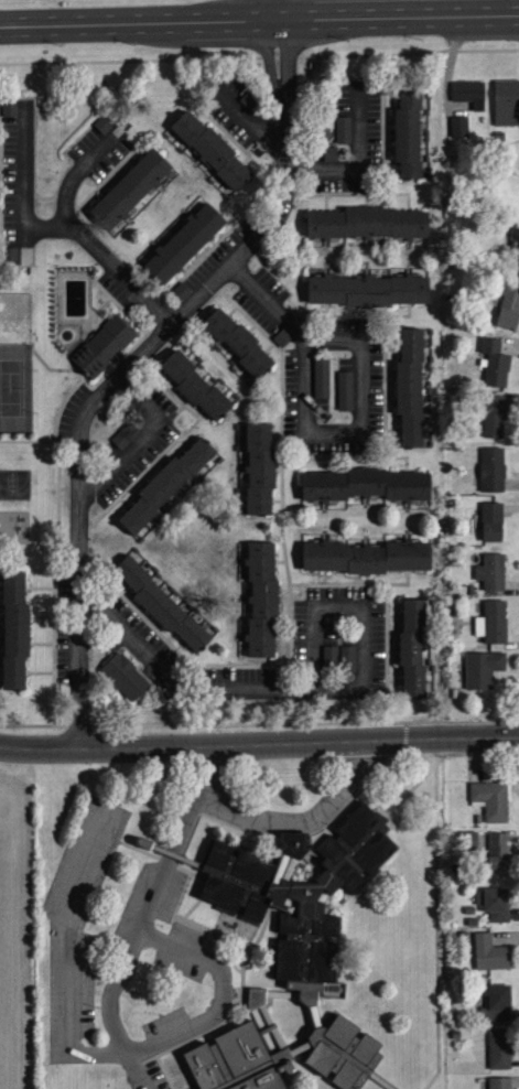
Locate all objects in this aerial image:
road: (488, 8)
road: (282, 10)
road: (400, 17)
road: (141, 22)
building: (469, 93)
building: (248, 97)
building: (506, 103)
road: (245, 117)
building: (102, 122)
building: (458, 126)
building: (342, 127)
building: (408, 132)
building: (212, 147)
building: (329, 151)
road: (360, 163)
road: (78, 171)
road: (24, 185)
building: (130, 185)
building: (367, 222)
building: (185, 241)
building: (9, 252)
building: (513, 254)
road: (120, 273)
building: (367, 288)
building: (181, 289)
building: (509, 308)
building: (281, 335)
building: (236, 341)
building: (101, 345)
road: (132, 364)
building: (491, 364)
building: (322, 378)
building: (194, 384)
building: (410, 386)
park: (11, 388)
building: (345, 388)
building: (493, 417)
building: (125, 434)
road: (307, 434)
road: (143, 439)
building: (258, 467)
building: (491, 470)
park: (14, 482)
building: (165, 482)
building: (365, 482)
building: (491, 522)
building: (366, 554)
building: (491, 572)
building: (62, 575)
building: (261, 595)
building: (109, 596)
building: (161, 603)
building: (491, 623)
building: (14, 628)
building: (412, 648)
building: (338, 657)
building: (482, 669)
building: (125, 673)
road: (312, 690)
road: (299, 743)
road: (39, 748)
road: (208, 768)
building: (490, 800)
road: (303, 815)
building: (497, 850)
building: (494, 902)
road: (134, 939)
road: (67, 952)
building: (490, 952)
building: (291, 957)
road: (220, 992)
building: (497, 1001)
building: (499, 1048)
building: (499, 1082)

